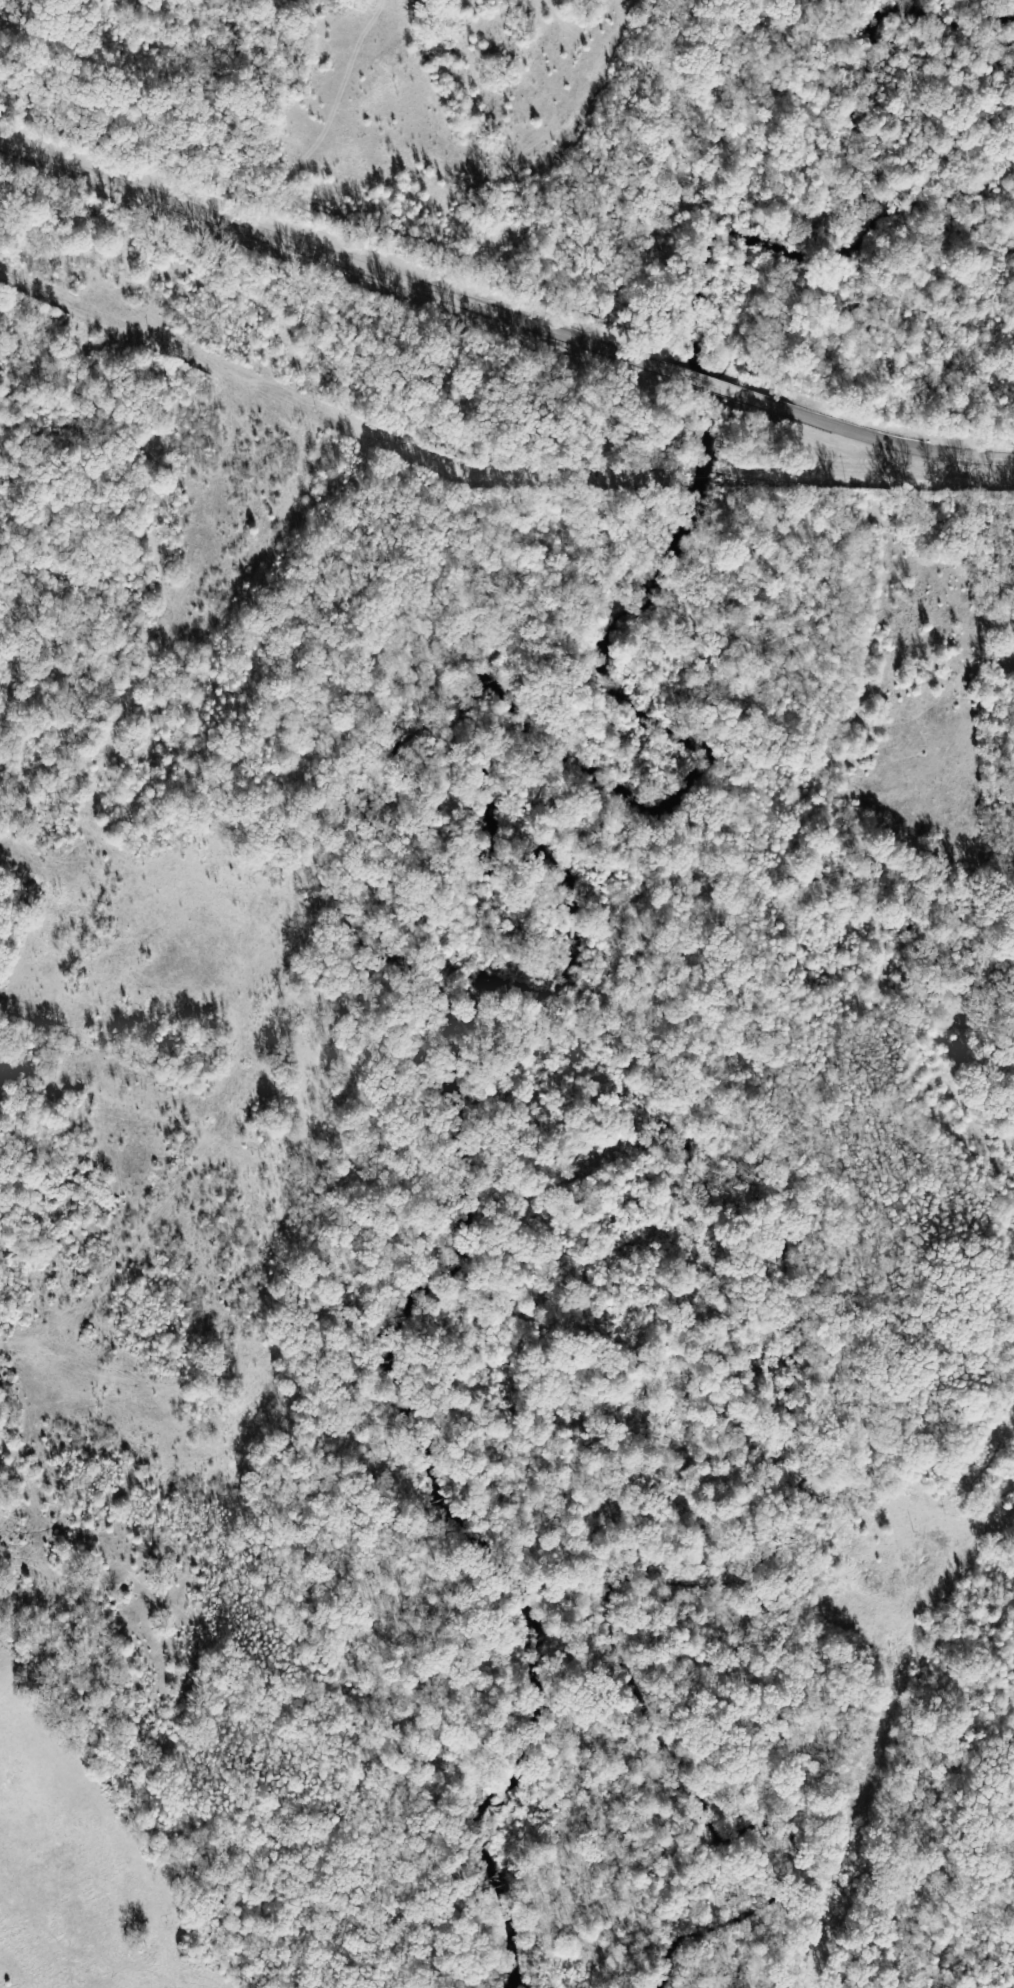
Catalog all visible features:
road: (503, 315)

